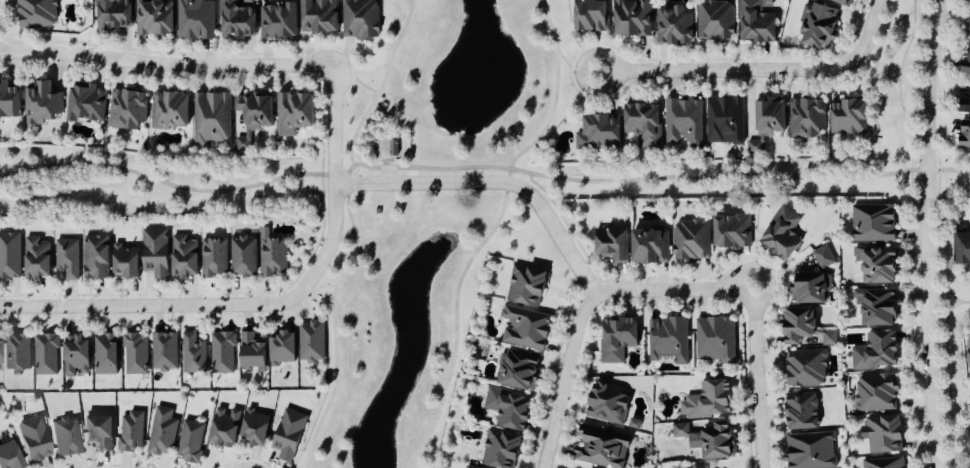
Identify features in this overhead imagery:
building: (842, 3)
building: (35, 14)
building: (113, 15)
building: (319, 16)
building: (590, 16)
building: (154, 18)
building: (236, 18)
building: (633, 19)
building: (195, 20)
building: (360, 20)
building: (715, 20)
building: (278, 22)
building: (756, 23)
building: (818, 26)
building: (673, 27)
road: (345, 52)
building: (965, 64)
road: (167, 65)
road: (577, 67)
road: (762, 70)
road: (345, 72)
road: (356, 77)
road: (381, 83)
building: (9, 102)
building: (86, 103)
building: (41, 105)
building: (964, 106)
building: (127, 110)
building: (170, 111)
building: (295, 113)
building: (253, 117)
building: (849, 118)
building: (211, 119)
building: (807, 119)
building: (725, 121)
building: (683, 123)
building: (644, 125)
building: (767, 125)
building: (599, 133)
building: (964, 134)
road: (385, 160)
road: (660, 177)
road: (496, 183)
road: (176, 186)
building: (874, 222)
road: (569, 230)
building: (732, 230)
road: (490, 231)
building: (782, 233)
road: (929, 233)
building: (691, 240)
building: (613, 242)
building: (650, 245)
building: (963, 247)
building: (155, 252)
building: (271, 254)
building: (242, 255)
building: (9, 256)
building: (823, 256)
building: (96, 257)
building: (184, 257)
building: (213, 257)
building: (36, 258)
building: (67, 258)
building: (125, 262)
building: (877, 264)
road: (319, 285)
building: (526, 286)
building: (811, 287)
road: (675, 290)
road: (950, 294)
road: (964, 301)
road: (271, 305)
building: (879, 307)
road: (950, 308)
road: (945, 318)
building: (799, 324)
road: (333, 326)
building: (526, 327)
building: (617, 338)
building: (813, 338)
building: (829, 338)
building: (715, 339)
building: (668, 340)
building: (312, 341)
building: (283, 348)
building: (164, 351)
building: (252, 351)
building: (876, 351)
building: (0, 352)
building: (222, 352)
building: (17, 353)
building: (135, 353)
building: (193, 353)
building: (45, 354)
building: (105, 354)
building: (75, 355)
building: (969, 357)
building: (805, 368)
building: (519, 369)
road: (566, 378)
road: (758, 379)
building: (875, 392)
building: (709, 400)
building: (608, 403)
building: (509, 408)
building: (801, 411)
building: (224, 427)
building: (255, 428)
building: (99, 431)
building: (130, 431)
building: (162, 432)
building: (883, 433)
building: (289, 434)
park: (955, 435)
building: (66, 436)
building: (34, 439)
building: (709, 439)
building: (190, 441)
building: (603, 447)
building: (501, 449)
building: (811, 450)
building: (10, 456)
building: (883, 463)
building: (694, 466)
building: (469, 467)

